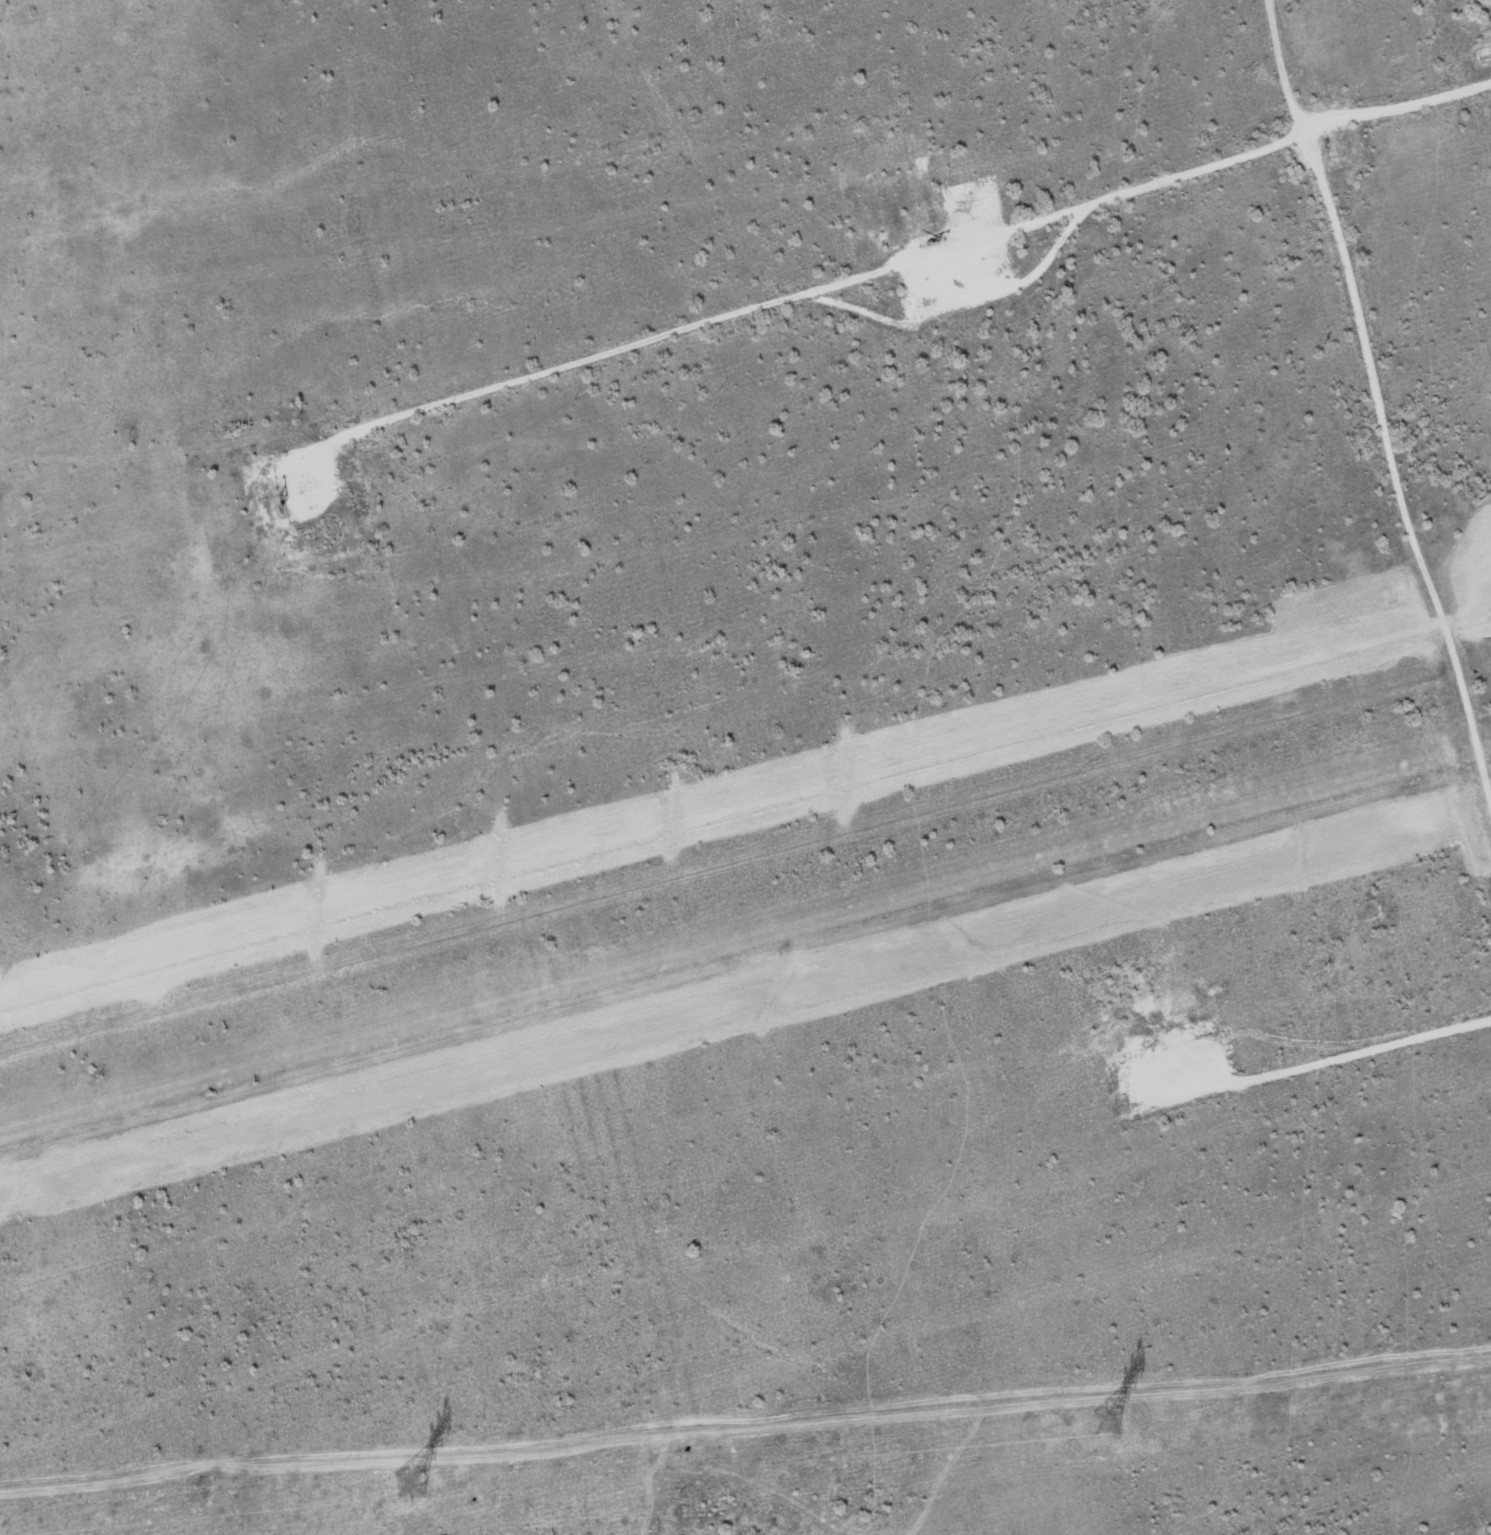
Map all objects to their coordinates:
power tower: (1105, 1423)
power tower: (407, 1486)

